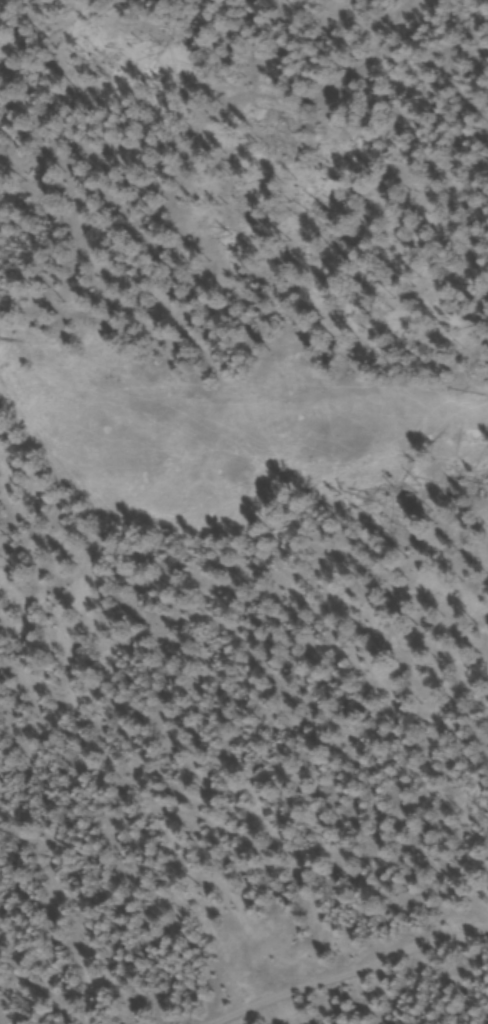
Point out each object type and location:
road: (346, 975)

